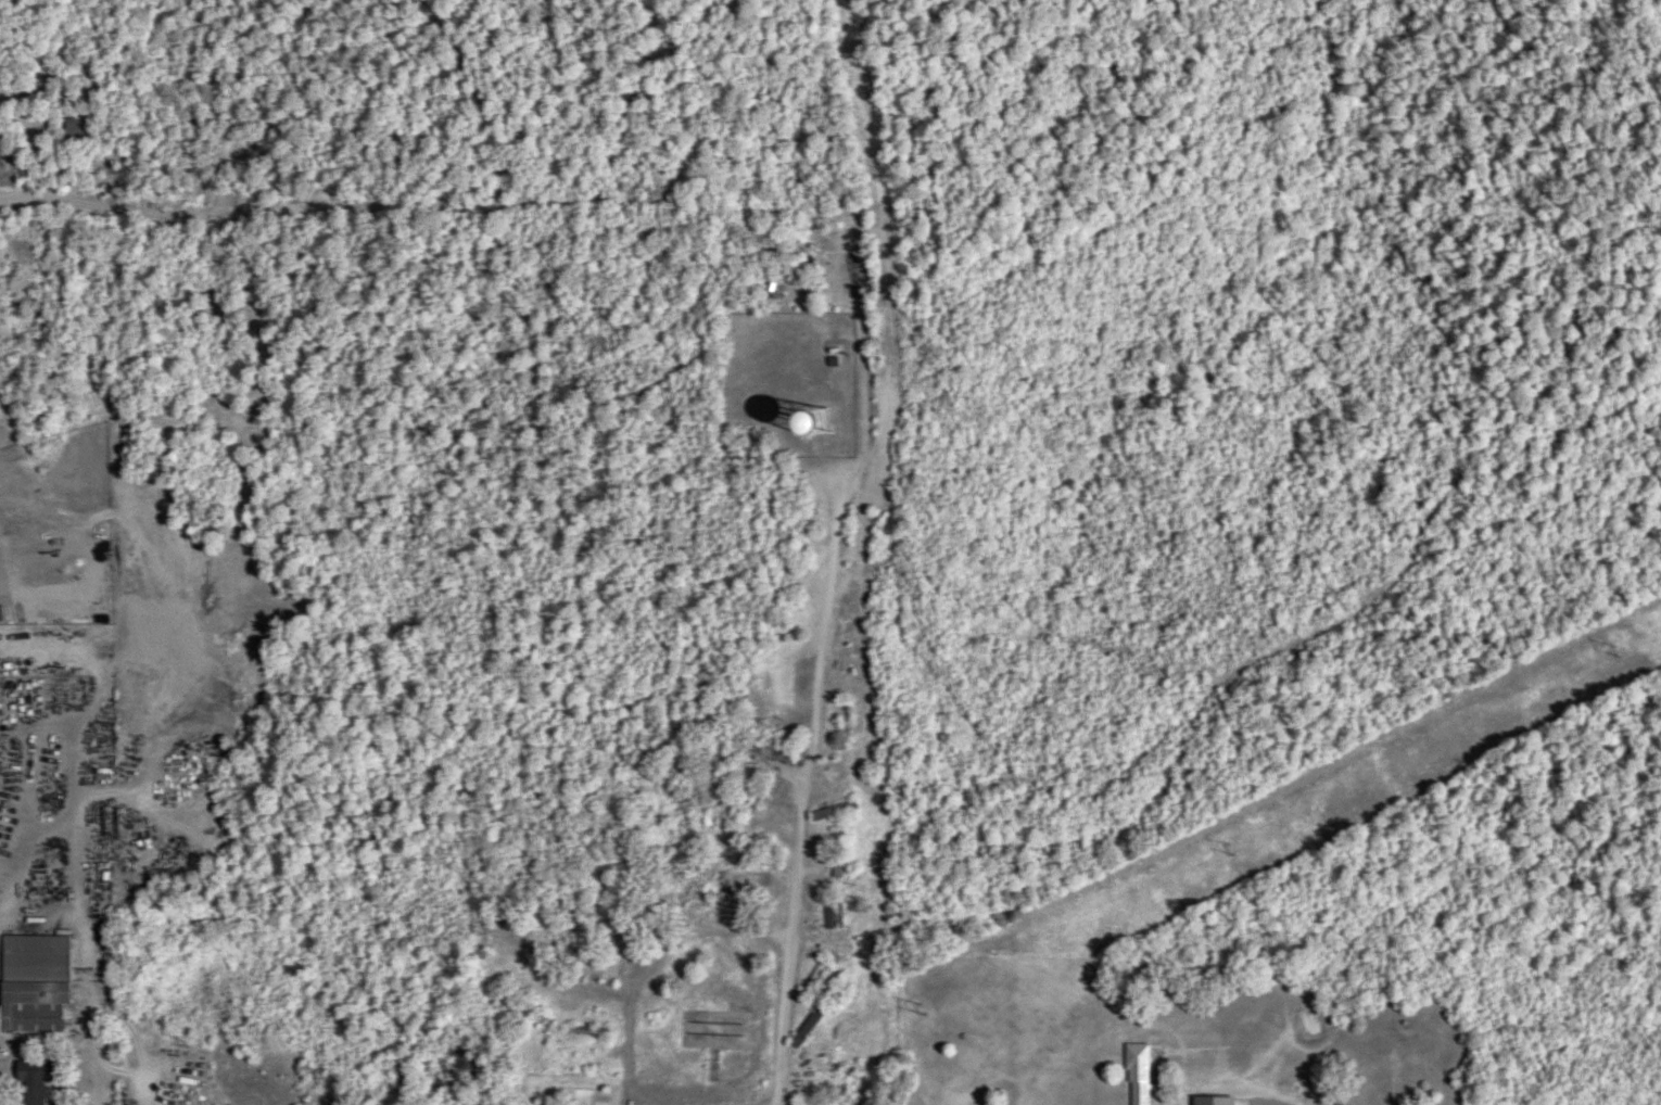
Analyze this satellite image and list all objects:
building: (852, 277)
building: (806, 569)
building: (841, 668)
road: (554, 715)
road: (799, 792)
building: (836, 854)
building: (714, 893)
building: (481, 937)
building: (813, 980)
building: (34, 983)
road: (631, 990)
building: (566, 1006)
building: (712, 1027)
building: (806, 1028)
building: (586, 1032)
road: (91, 1060)
building: (1136, 1074)
building: (576, 1078)
building: (33, 1080)
building: (817, 1095)
building: (561, 1098)
road: (749, 1100)

